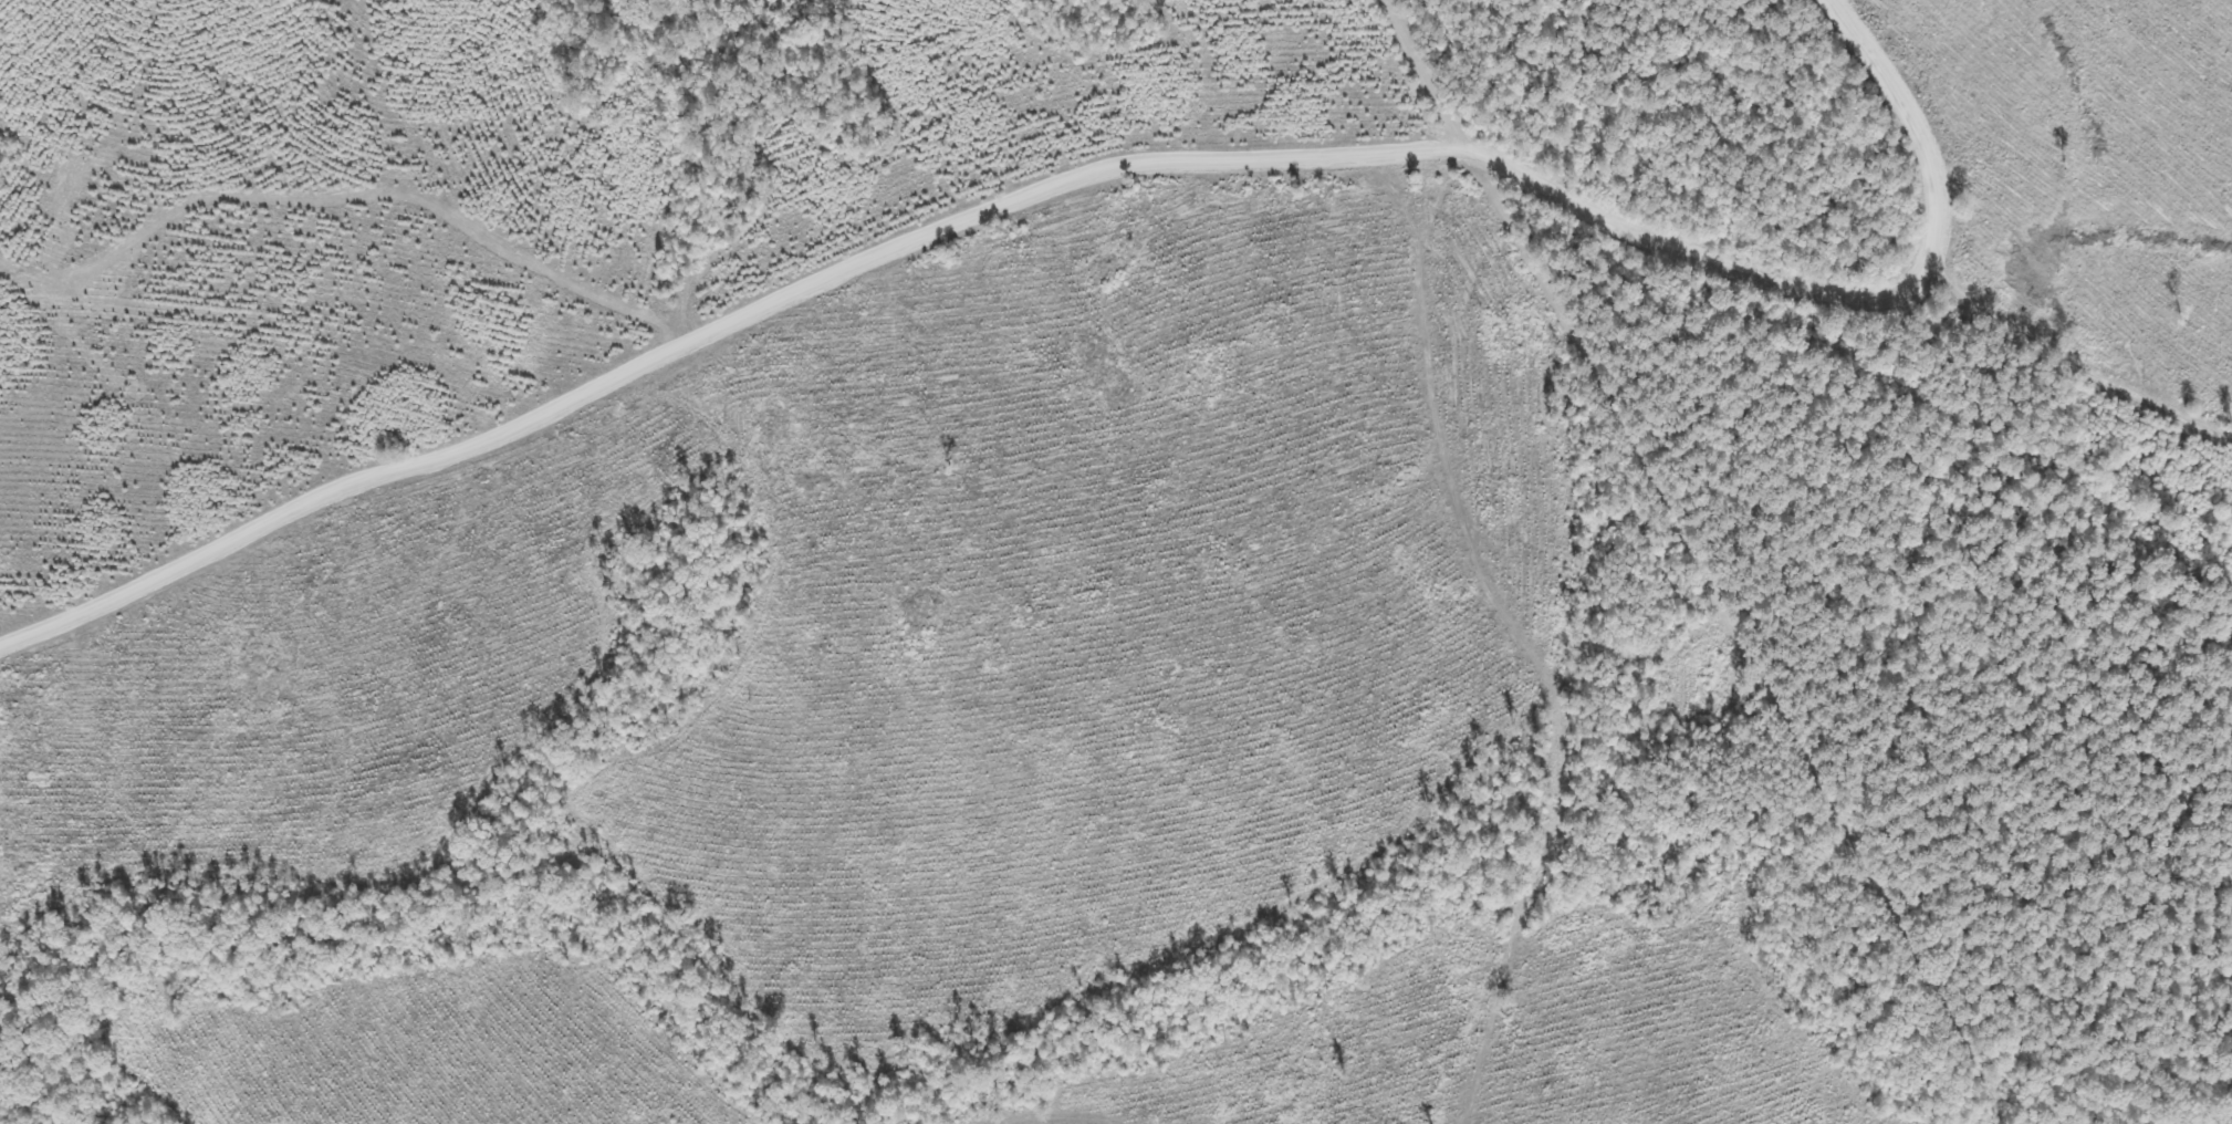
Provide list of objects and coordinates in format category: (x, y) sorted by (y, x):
road: (1458, 150)
road: (342, 483)

